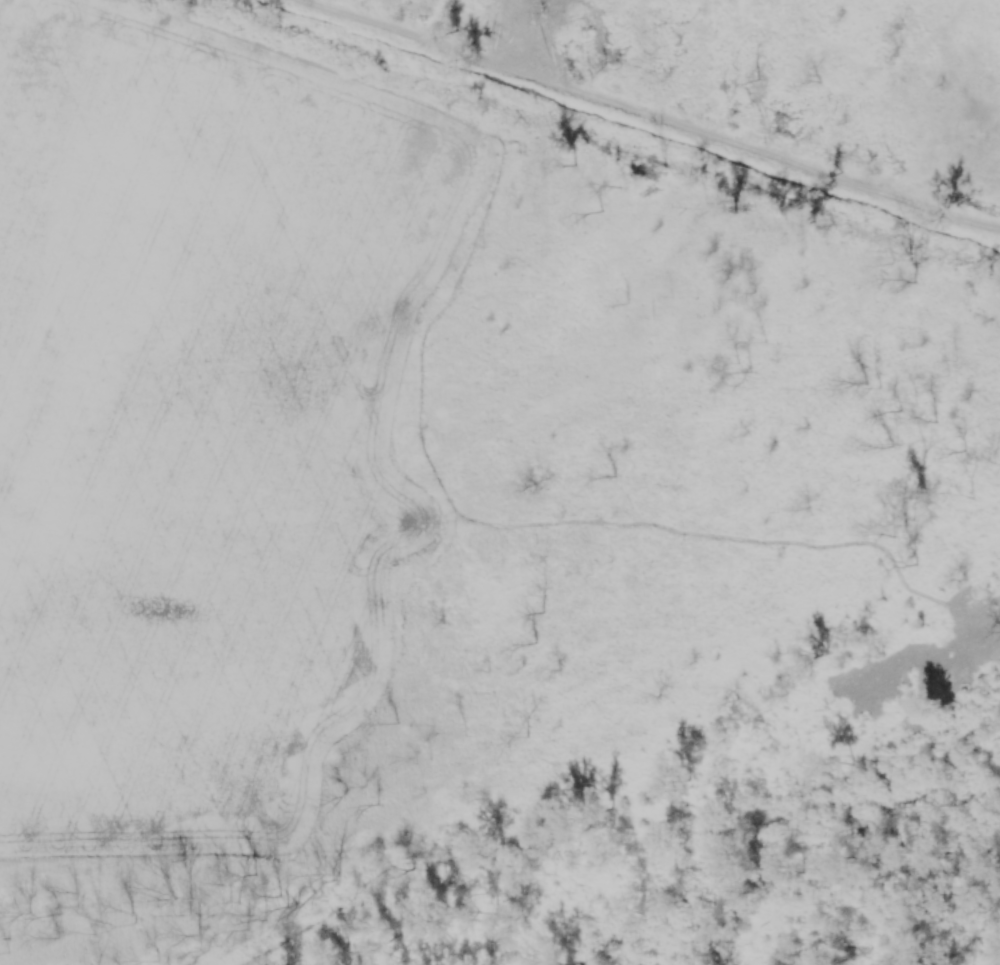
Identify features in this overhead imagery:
park: (502, 939)

